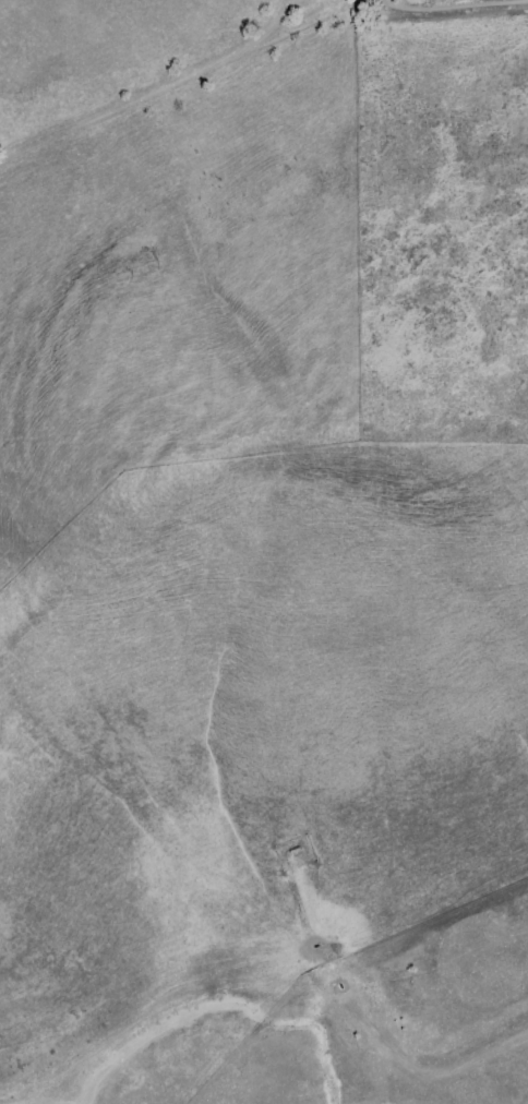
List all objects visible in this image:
road: (453, 5)
road: (153, 83)
park: (436, 224)
park: (236, 604)

